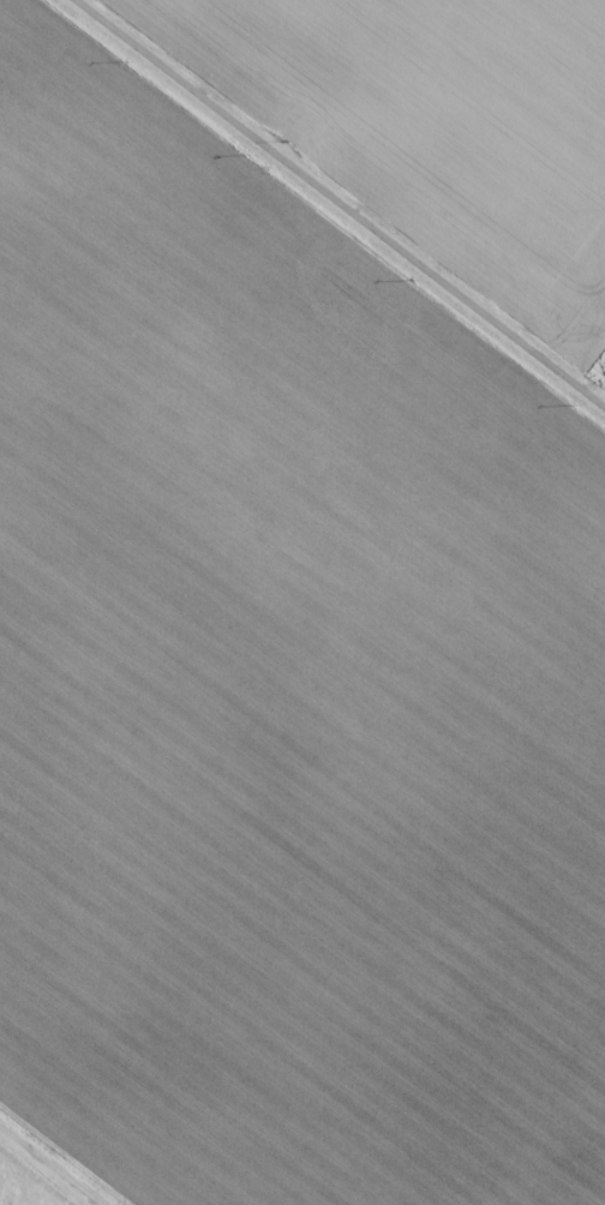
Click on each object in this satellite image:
road: (329, 209)

